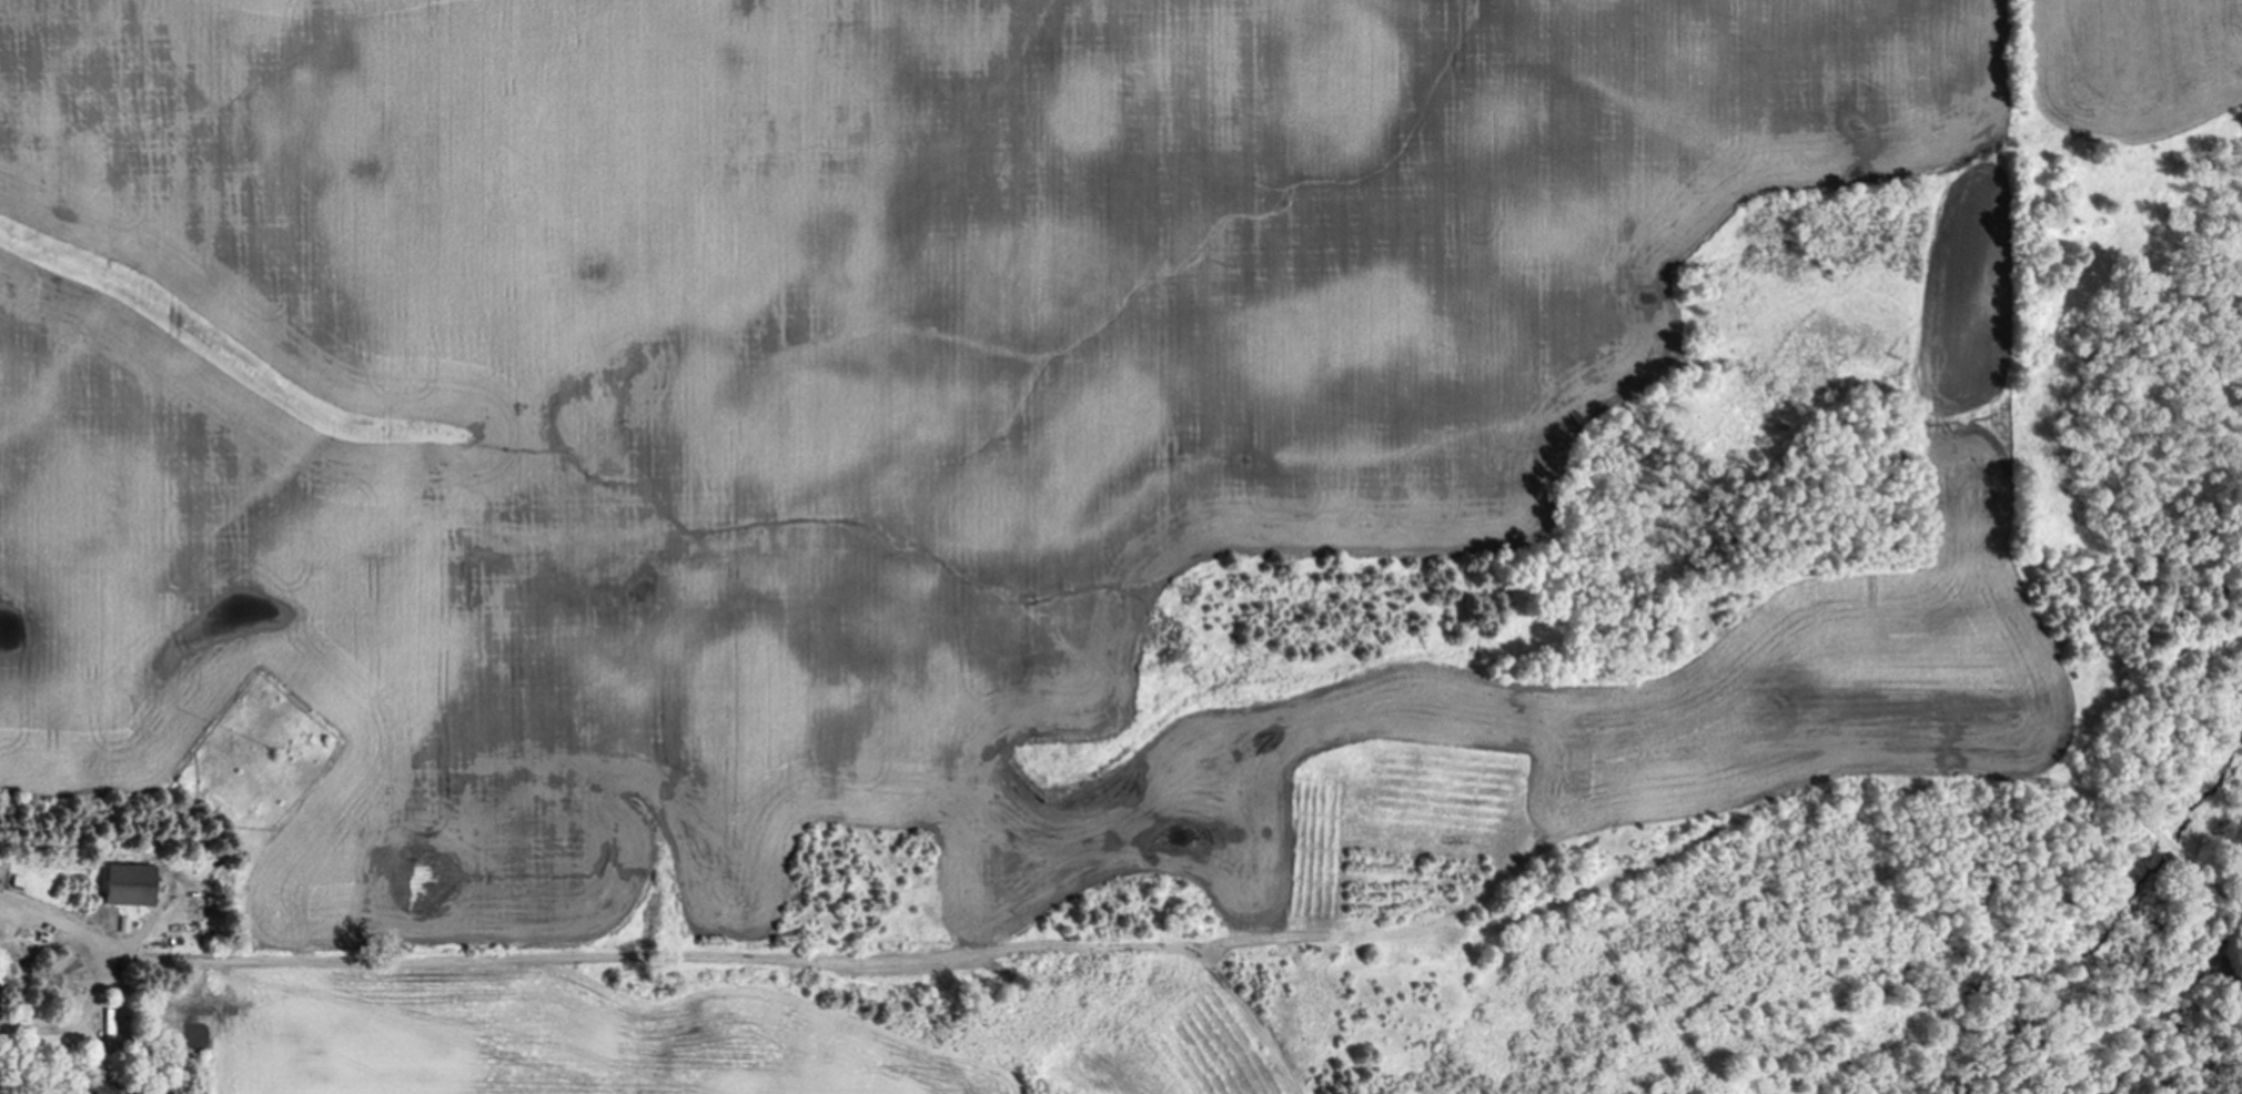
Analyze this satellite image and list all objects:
building: (134, 884)
road: (119, 966)
building: (113, 1087)

